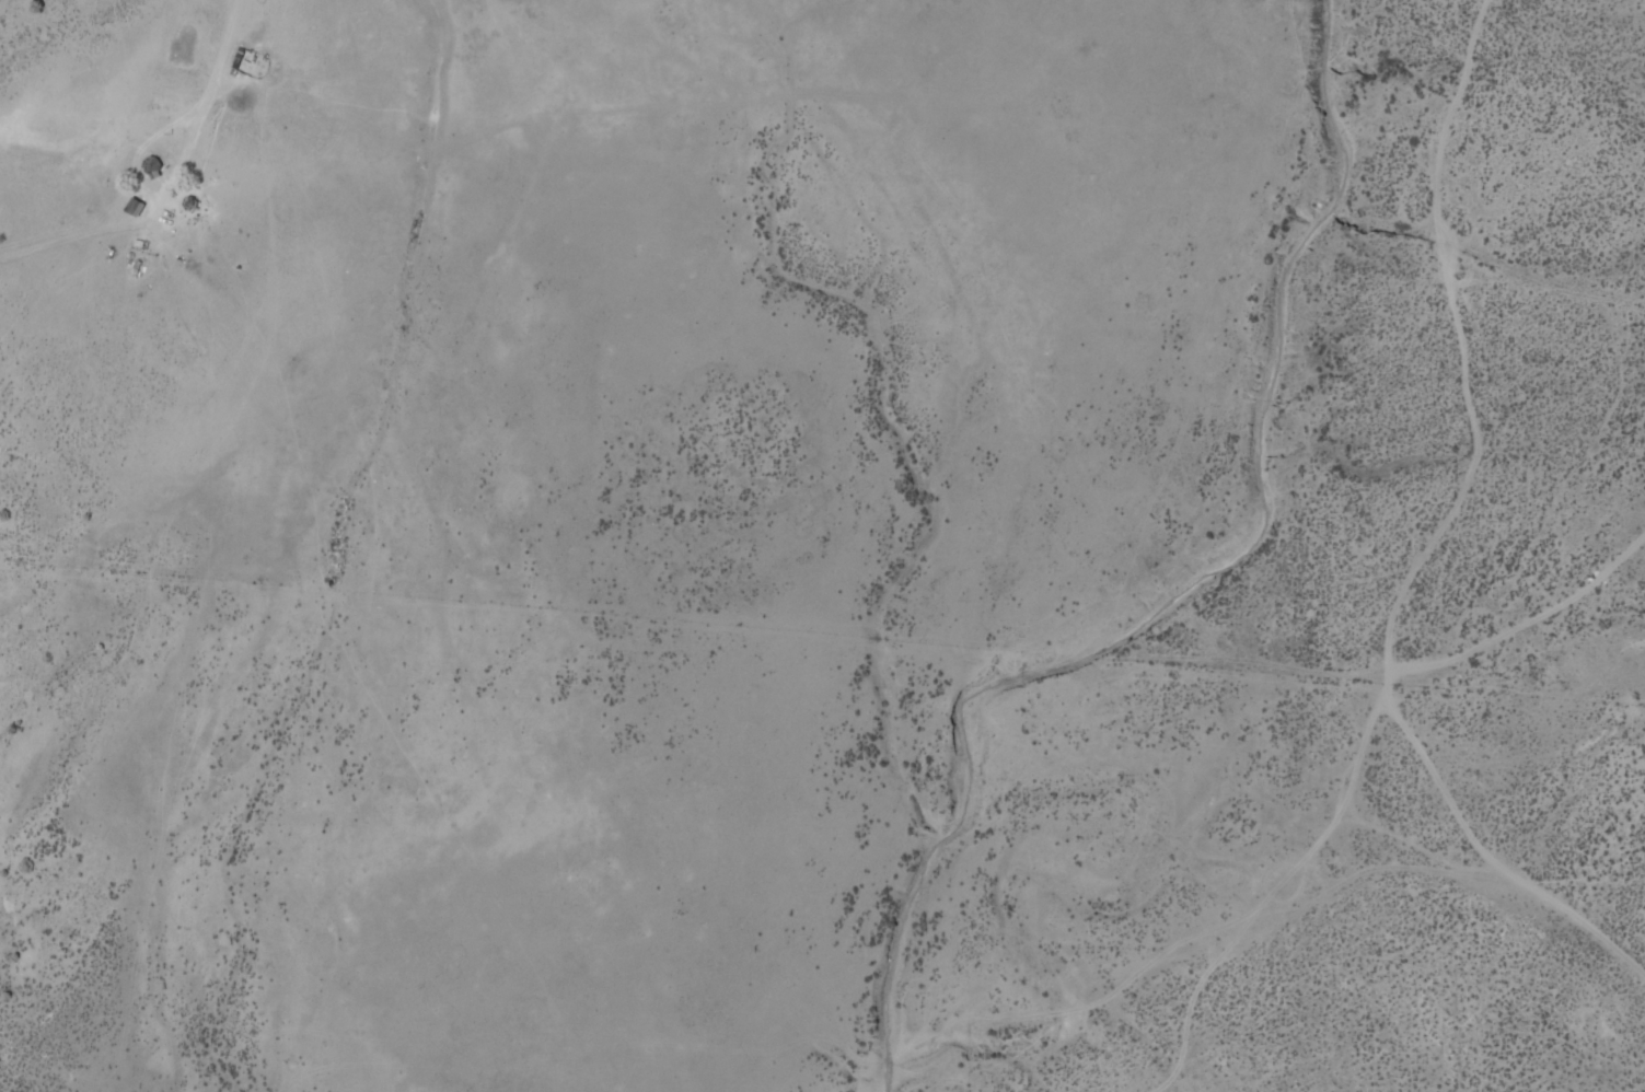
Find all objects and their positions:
building: (111, 136)
road: (420, 307)

